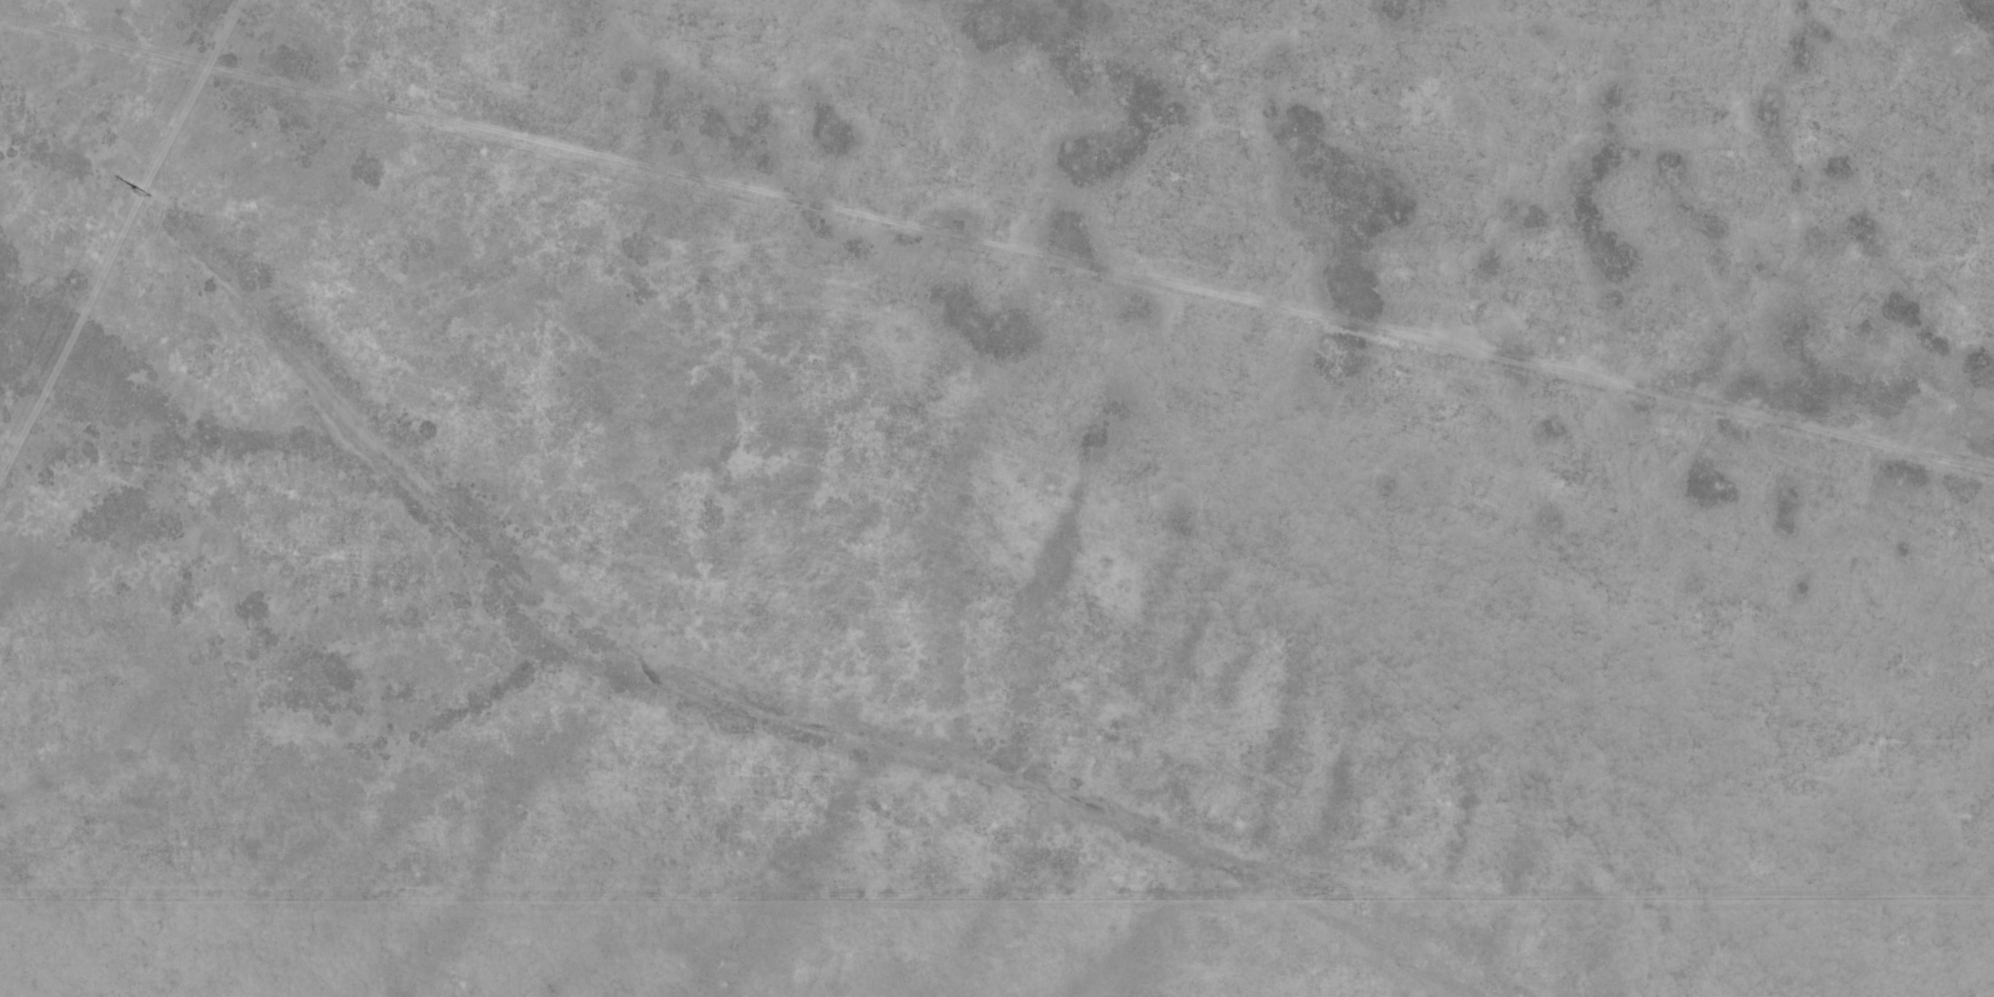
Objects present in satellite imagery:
power tower: (144, 190)

